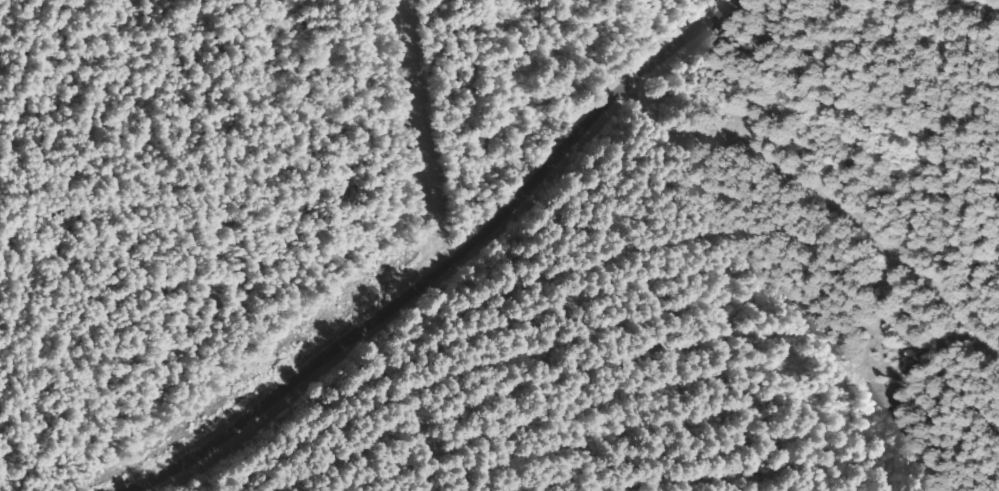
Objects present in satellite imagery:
road: (458, 267)

